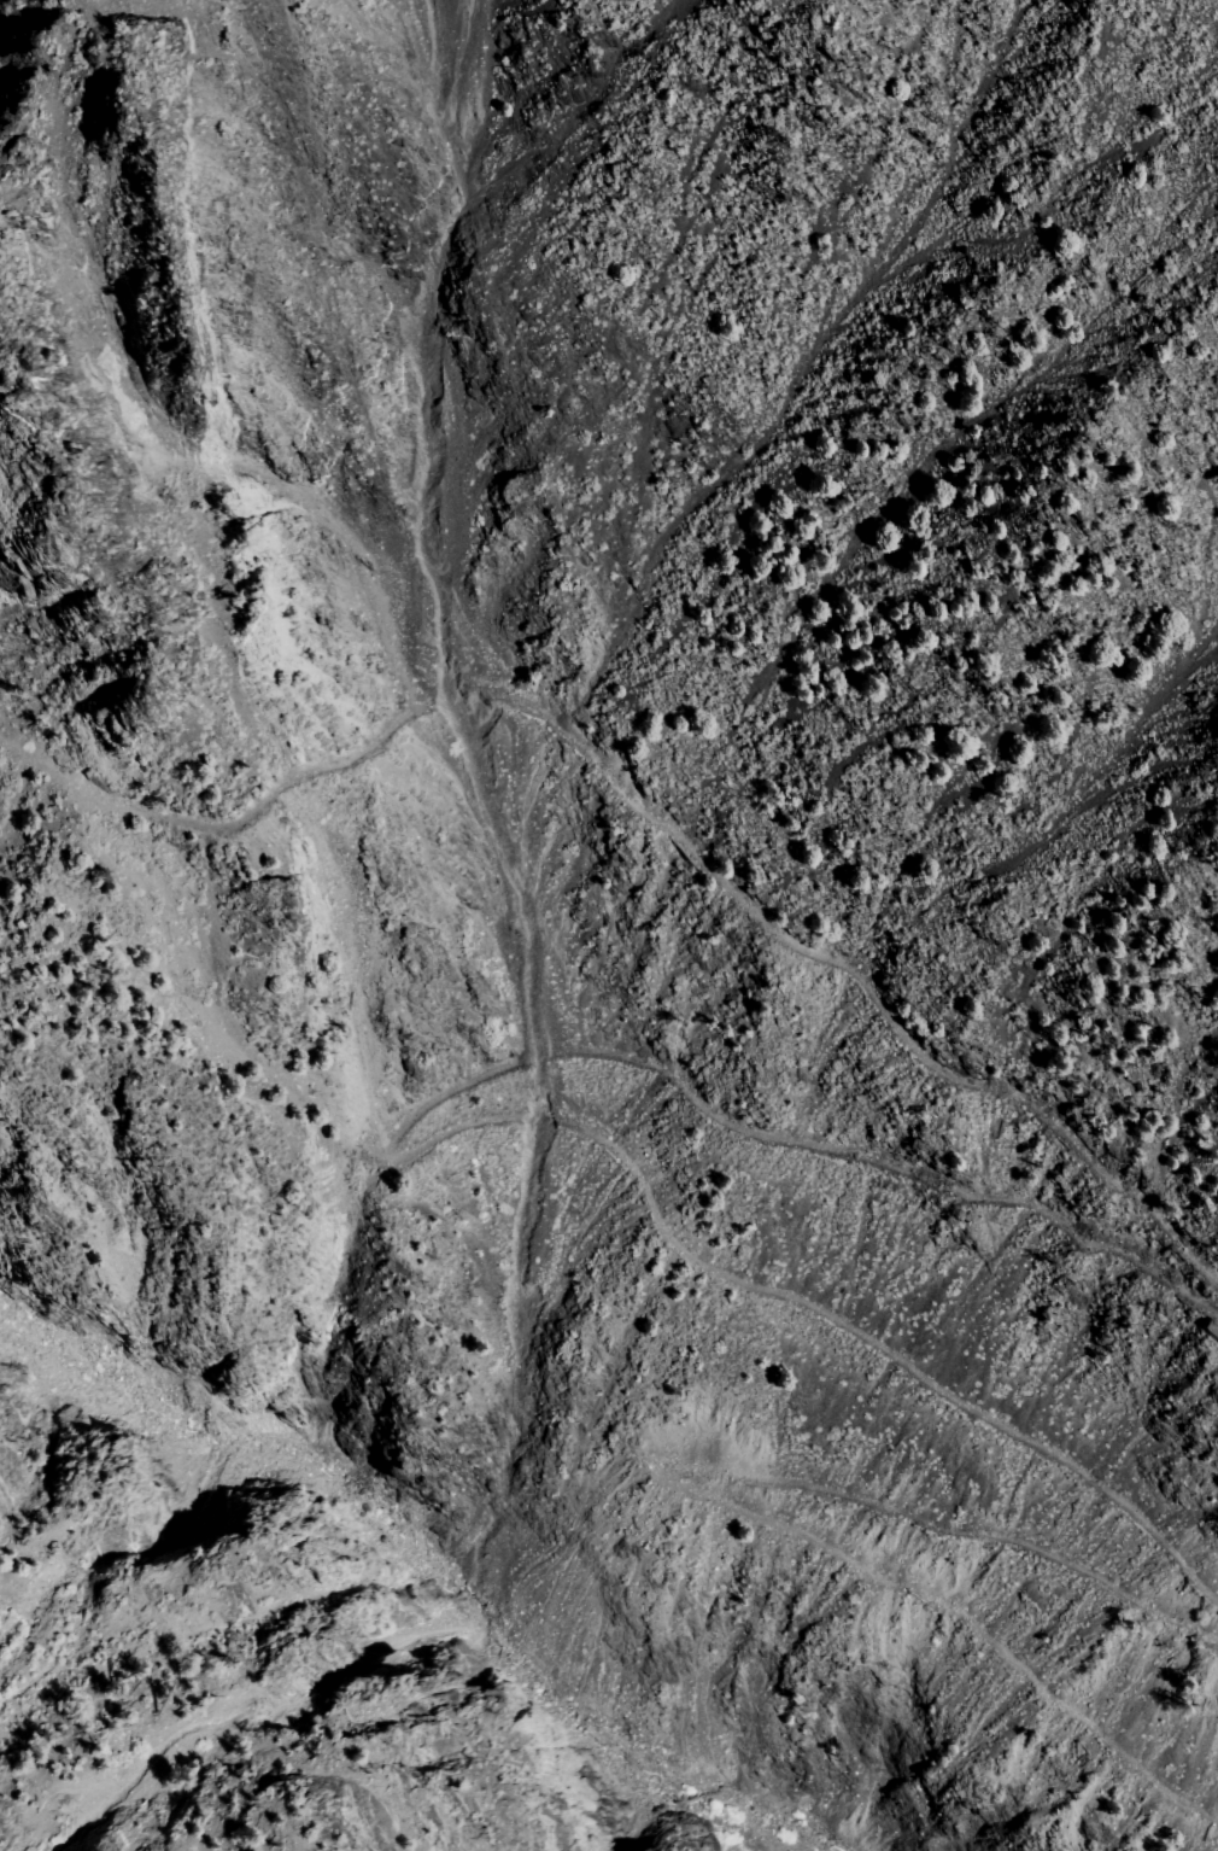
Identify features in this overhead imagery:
road: (646, 810)
road: (429, 1145)
road: (699, 1495)

